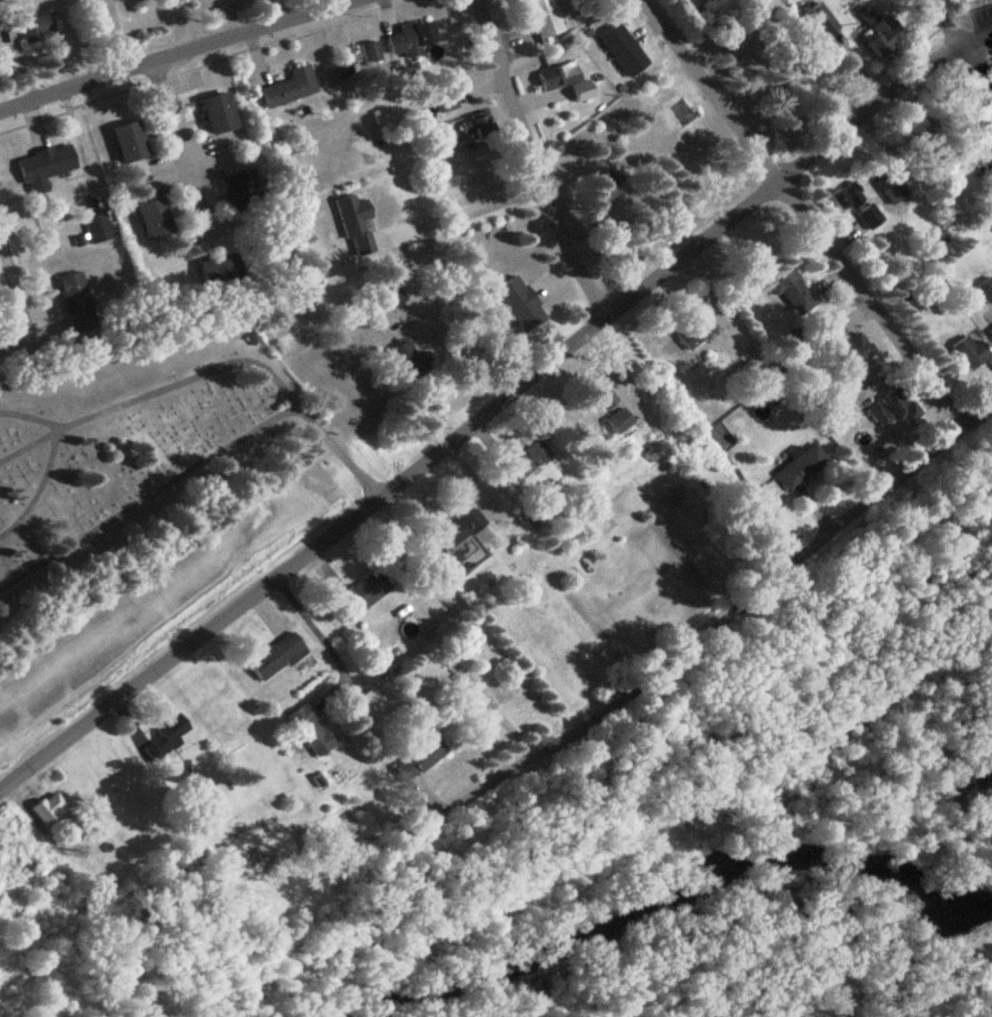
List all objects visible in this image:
building: (973, 0)
building: (544, 17)
building: (823, 21)
building: (39, 28)
building: (881, 31)
building: (414, 38)
road: (960, 40)
building: (625, 50)
building: (372, 52)
road: (173, 54)
building: (567, 81)
building: (819, 86)
building: (292, 88)
building: (220, 113)
building: (477, 128)
building: (131, 142)
road: (181, 150)
road: (533, 161)
building: (46, 168)
building: (989, 170)
building: (243, 186)
building: (892, 188)
building: (605, 190)
building: (846, 198)
road: (804, 212)
building: (871, 218)
building: (156, 219)
road: (467, 219)
building: (98, 228)
building: (346, 256)
building: (222, 271)
building: (793, 290)
building: (986, 290)
road: (16, 293)
building: (396, 298)
building: (78, 304)
building: (521, 304)
building: (991, 332)
building: (697, 333)
building: (850, 346)
building: (972, 352)
building: (410, 359)
road: (152, 392)
road: (493, 408)
building: (896, 409)
building: (621, 421)
park: (138, 448)
road: (339, 451)
building: (527, 462)
building: (803, 468)
road: (149, 496)
building: (460, 528)
building: (365, 593)
road: (715, 625)
building: (278, 657)
building: (312, 731)
building: (168, 738)
building: (420, 759)
building: (50, 809)
river: (925, 962)

